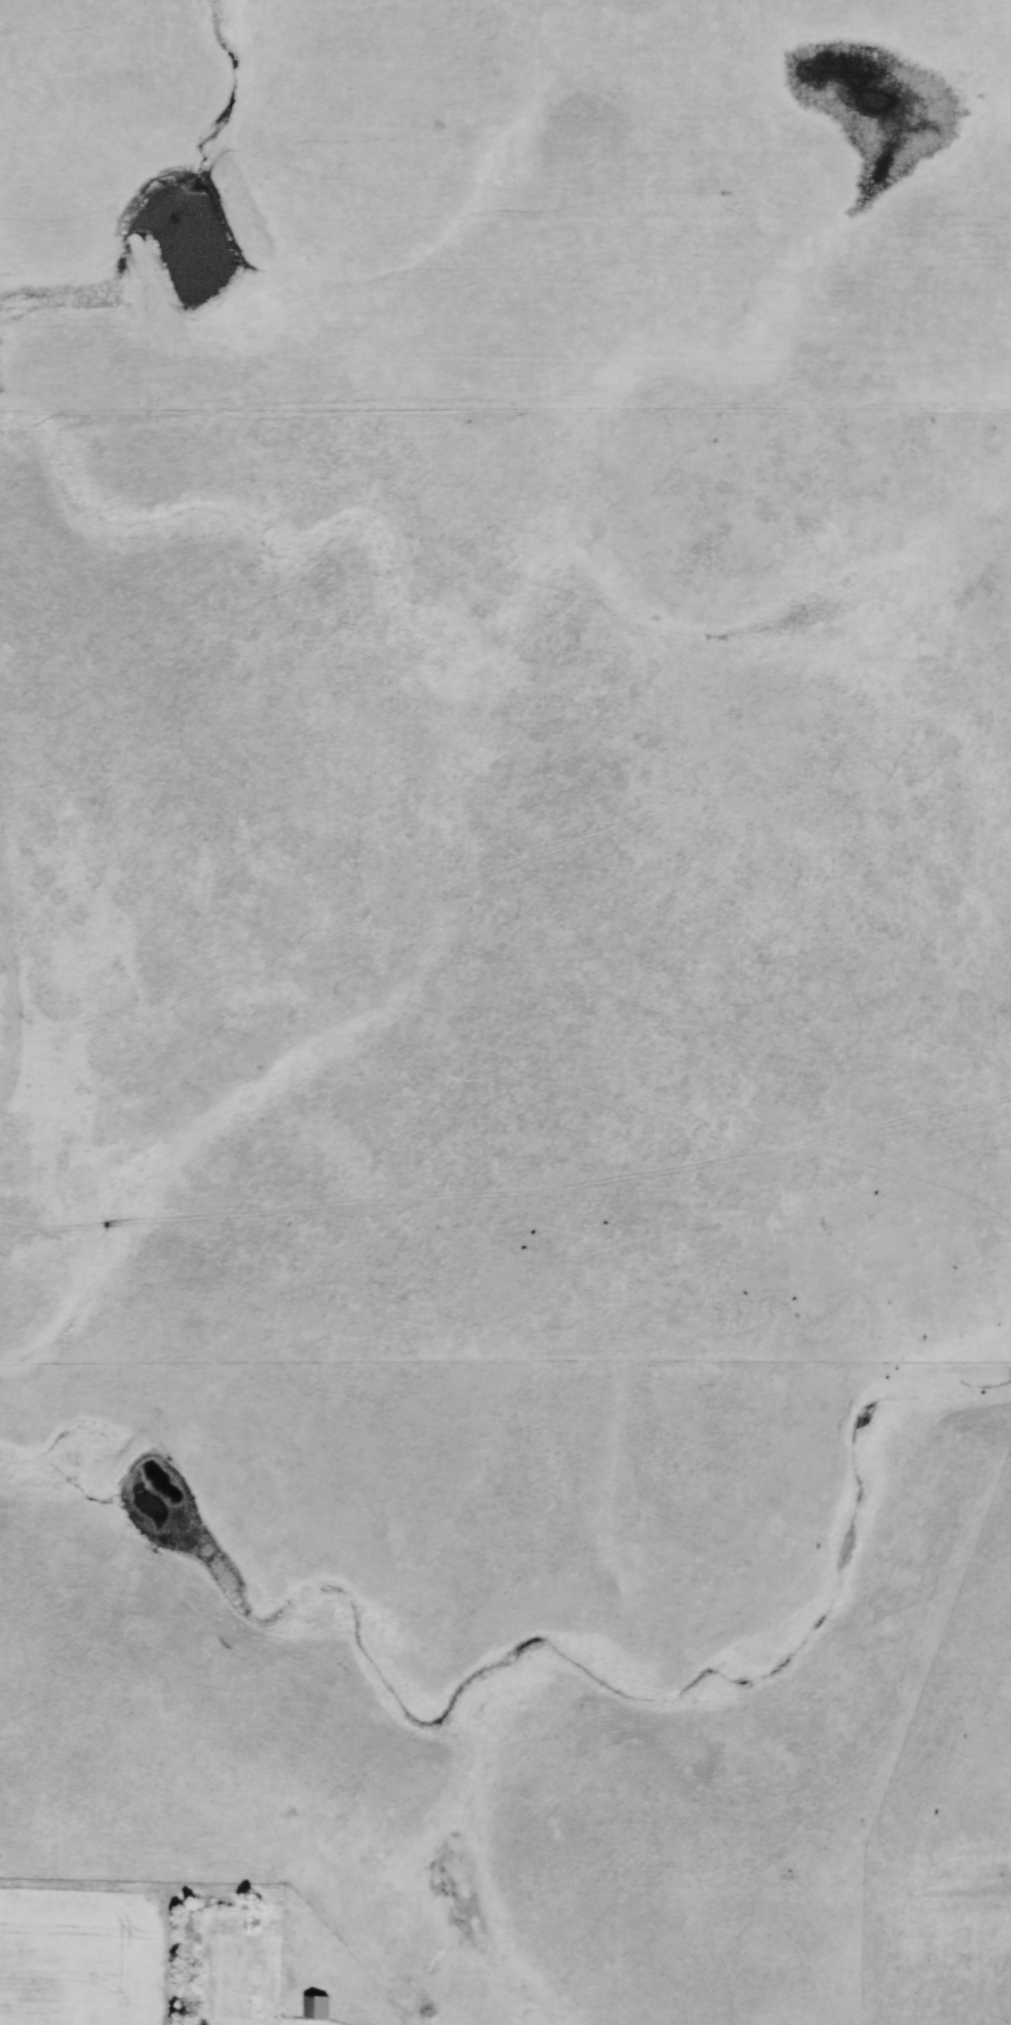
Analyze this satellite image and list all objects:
crop: (77, 1957)
building: (315, 2007)

